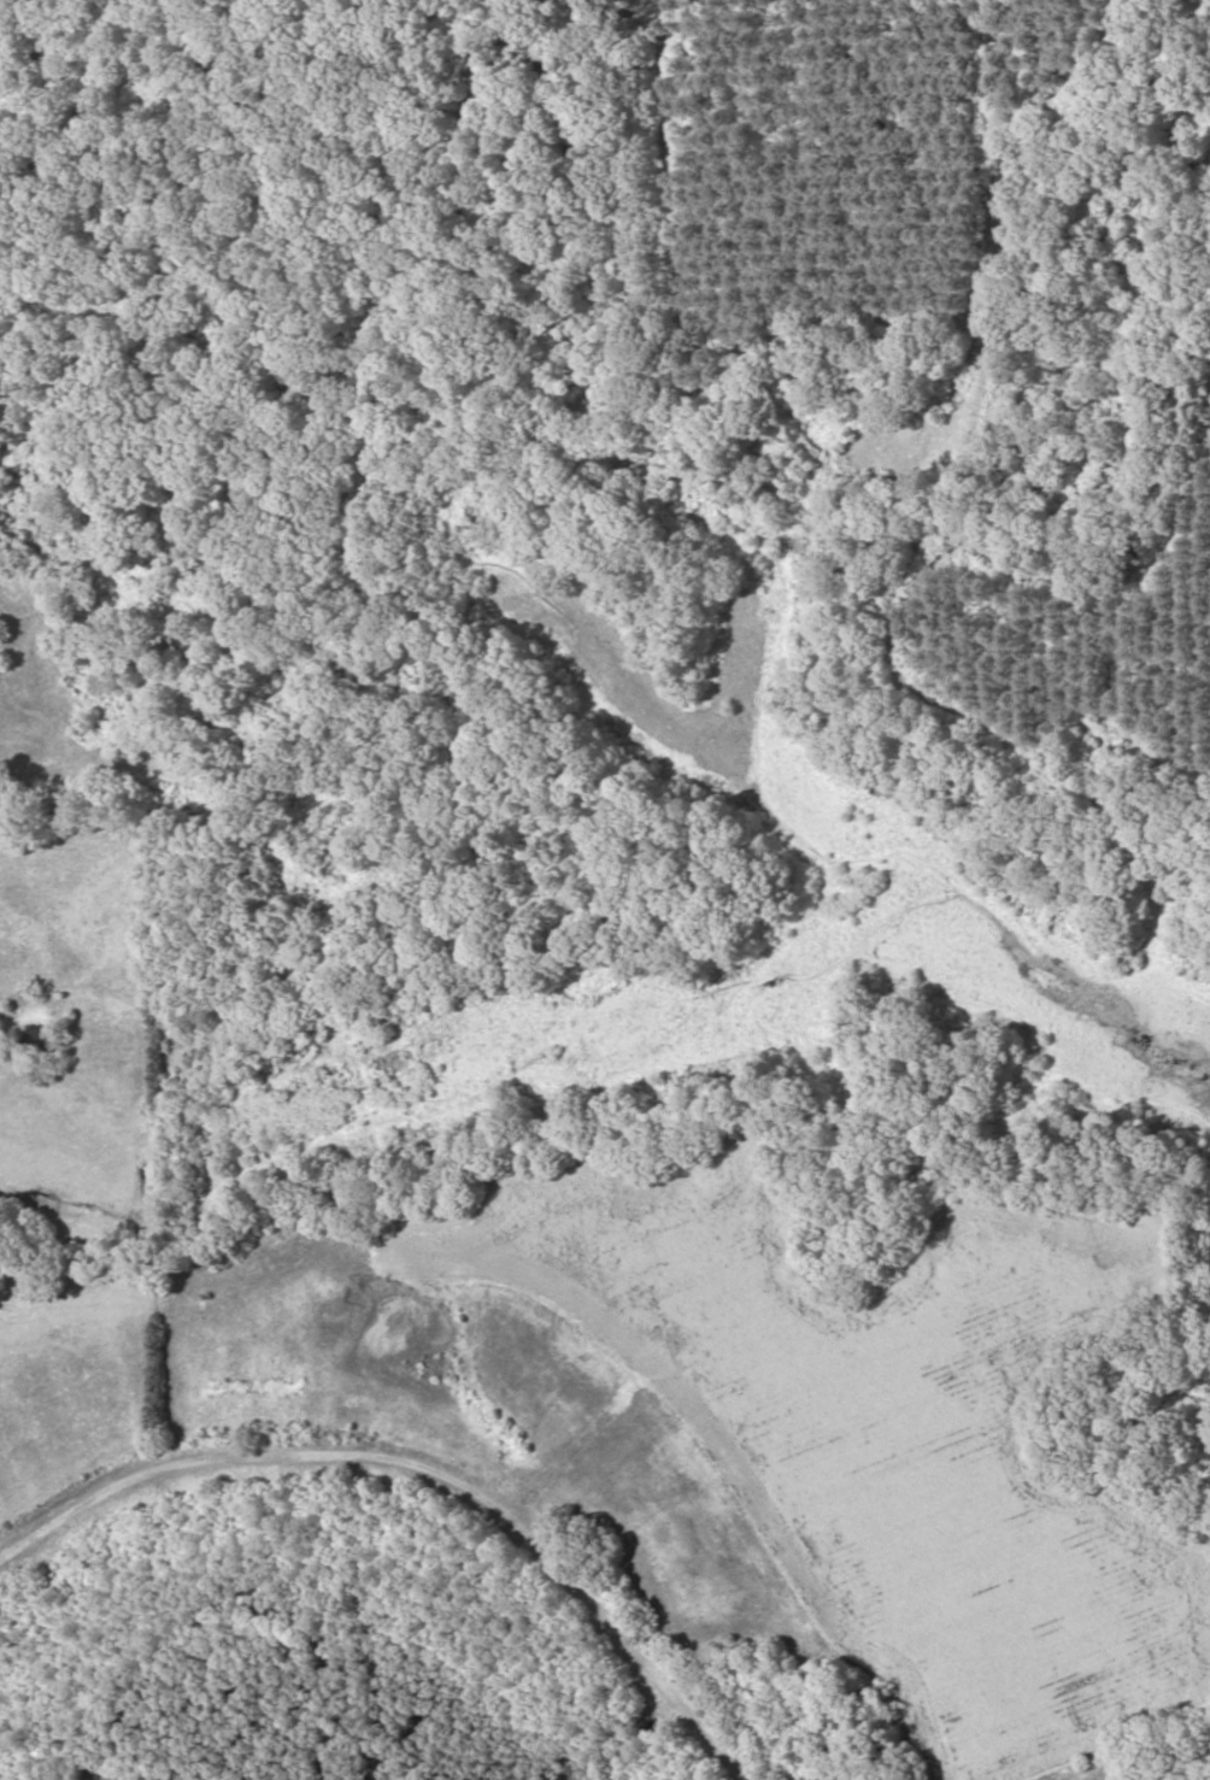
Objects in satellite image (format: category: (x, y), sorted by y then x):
road: (428, 1470)

